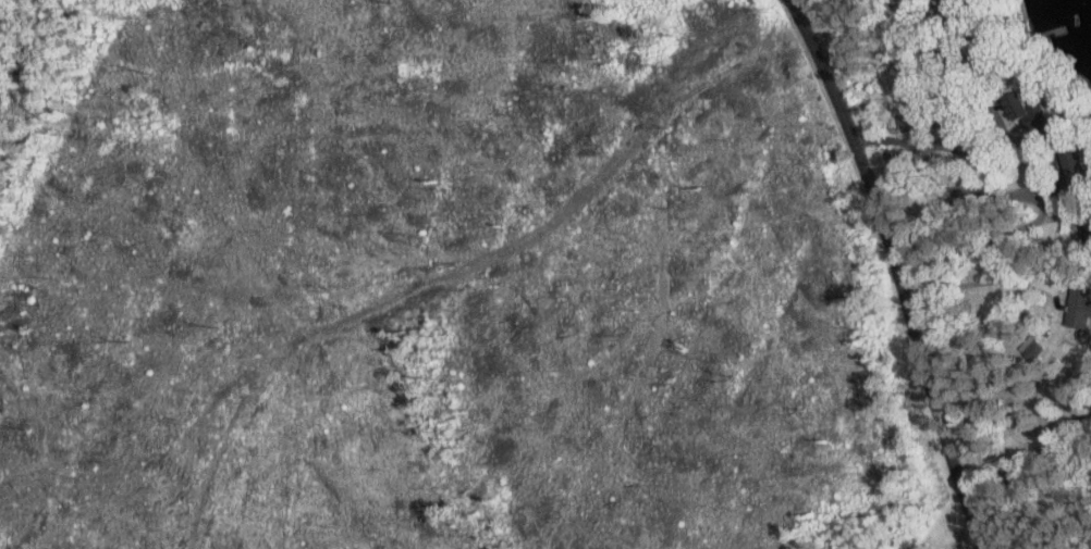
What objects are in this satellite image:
road: (920, 15)
building: (1027, 111)
road: (970, 145)
building: (1076, 167)
road: (956, 190)
road: (897, 270)
road: (985, 279)
building: (1080, 304)
road: (963, 533)

